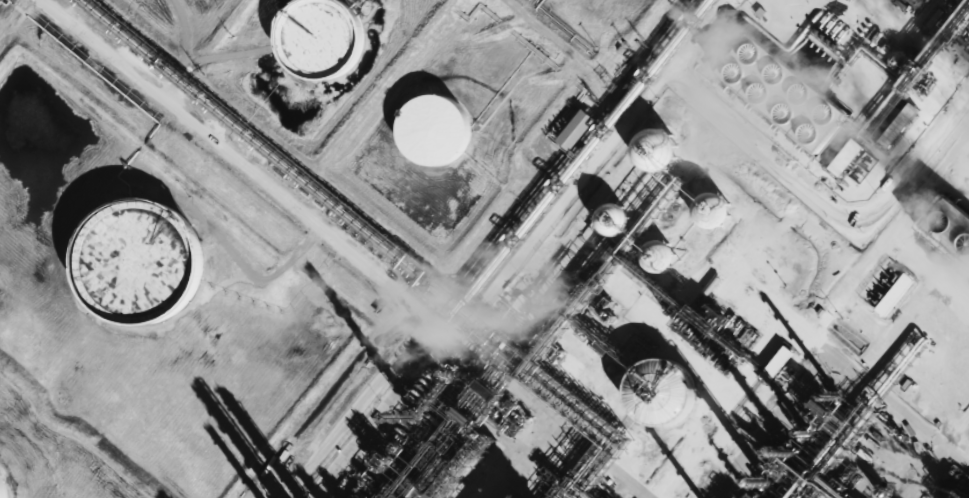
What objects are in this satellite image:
road: (967, 1)
helipad: (795, 8)
building: (324, 38)
building: (897, 128)
building: (576, 129)
building: (438, 130)
storage tank: (438, 130)
building: (656, 149)
building: (846, 156)
building: (614, 217)
road: (522, 248)
road: (355, 249)
building: (659, 255)
building: (147, 264)
storage tank: (147, 264)
building: (890, 292)
road: (828, 316)
building: (774, 358)
building: (648, 392)
building: (3, 487)
storage tank: (3, 487)
building: (445, 489)

